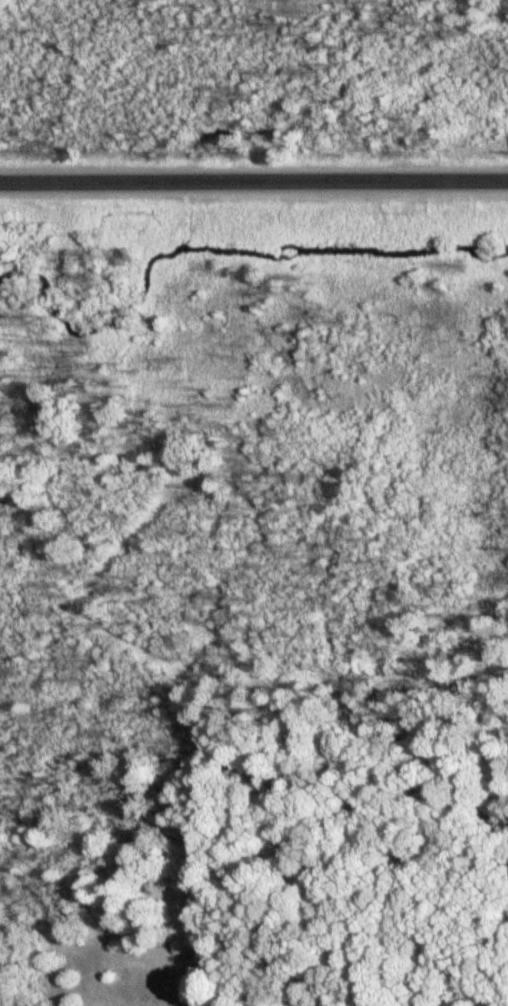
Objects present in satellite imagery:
road: (254, 184)

